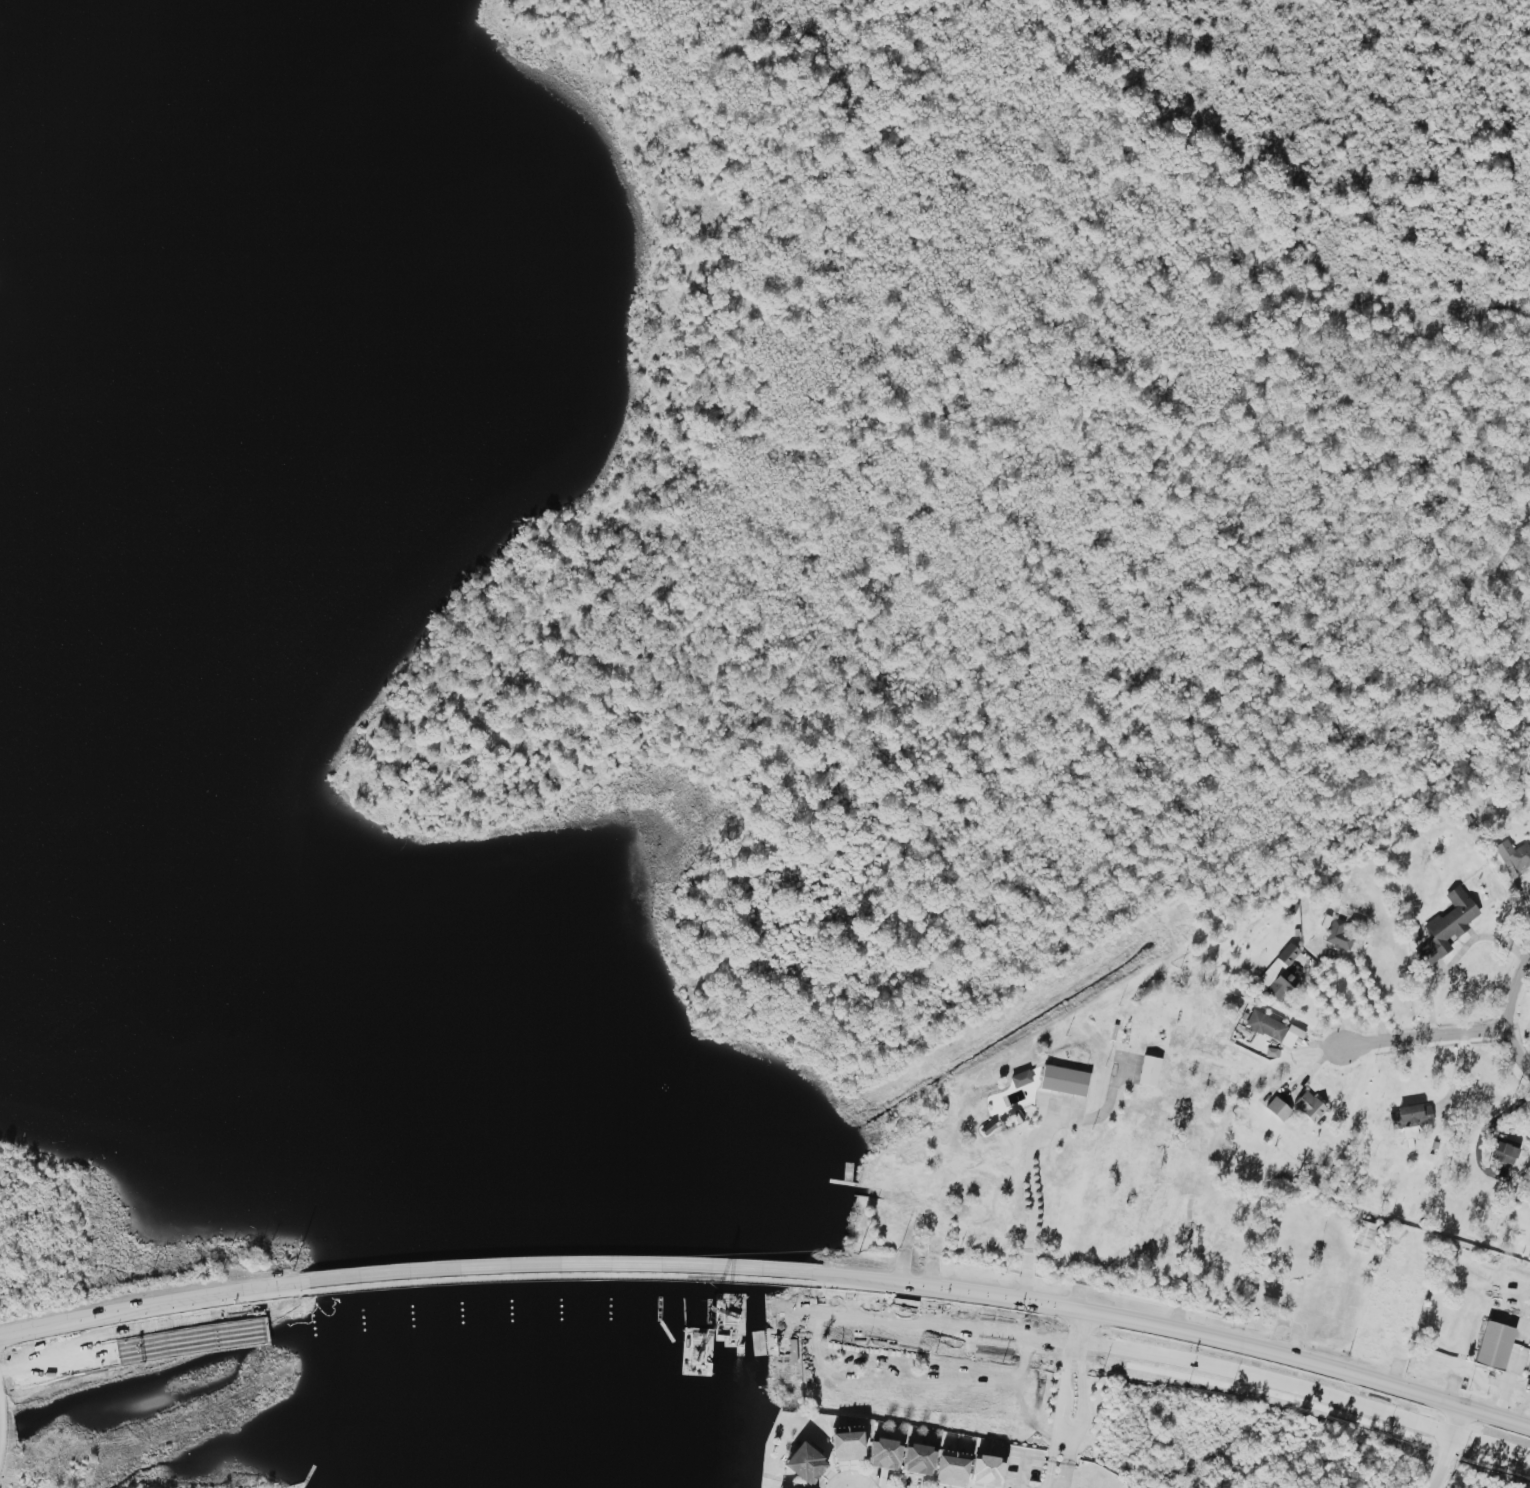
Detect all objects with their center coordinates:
building: (1513, 855)
building: (1446, 927)
building: (1340, 935)
road: (1454, 958)
building: (1283, 975)
road: (1358, 982)
road: (1330, 1005)
road: (1512, 1013)
building: (1272, 1028)
road: (1423, 1037)
building: (1149, 1070)
building: (1020, 1078)
building: (1064, 1080)
building: (1309, 1106)
building: (1278, 1108)
building: (1407, 1116)
building: (1506, 1154)
road: (1029, 1167)
building: (1363, 1235)
road: (536, 1268)
road: (160, 1305)
road: (565, 1309)
road: (1175, 1329)
road: (30, 1332)
building: (1494, 1345)
road: (135, 1349)
road: (1199, 1363)
road: (1067, 1400)
building: (848, 1446)
road: (1447, 1448)
building: (884, 1454)
building: (918, 1459)
building: (805, 1463)
building: (986, 1470)
building: (951, 1471)

